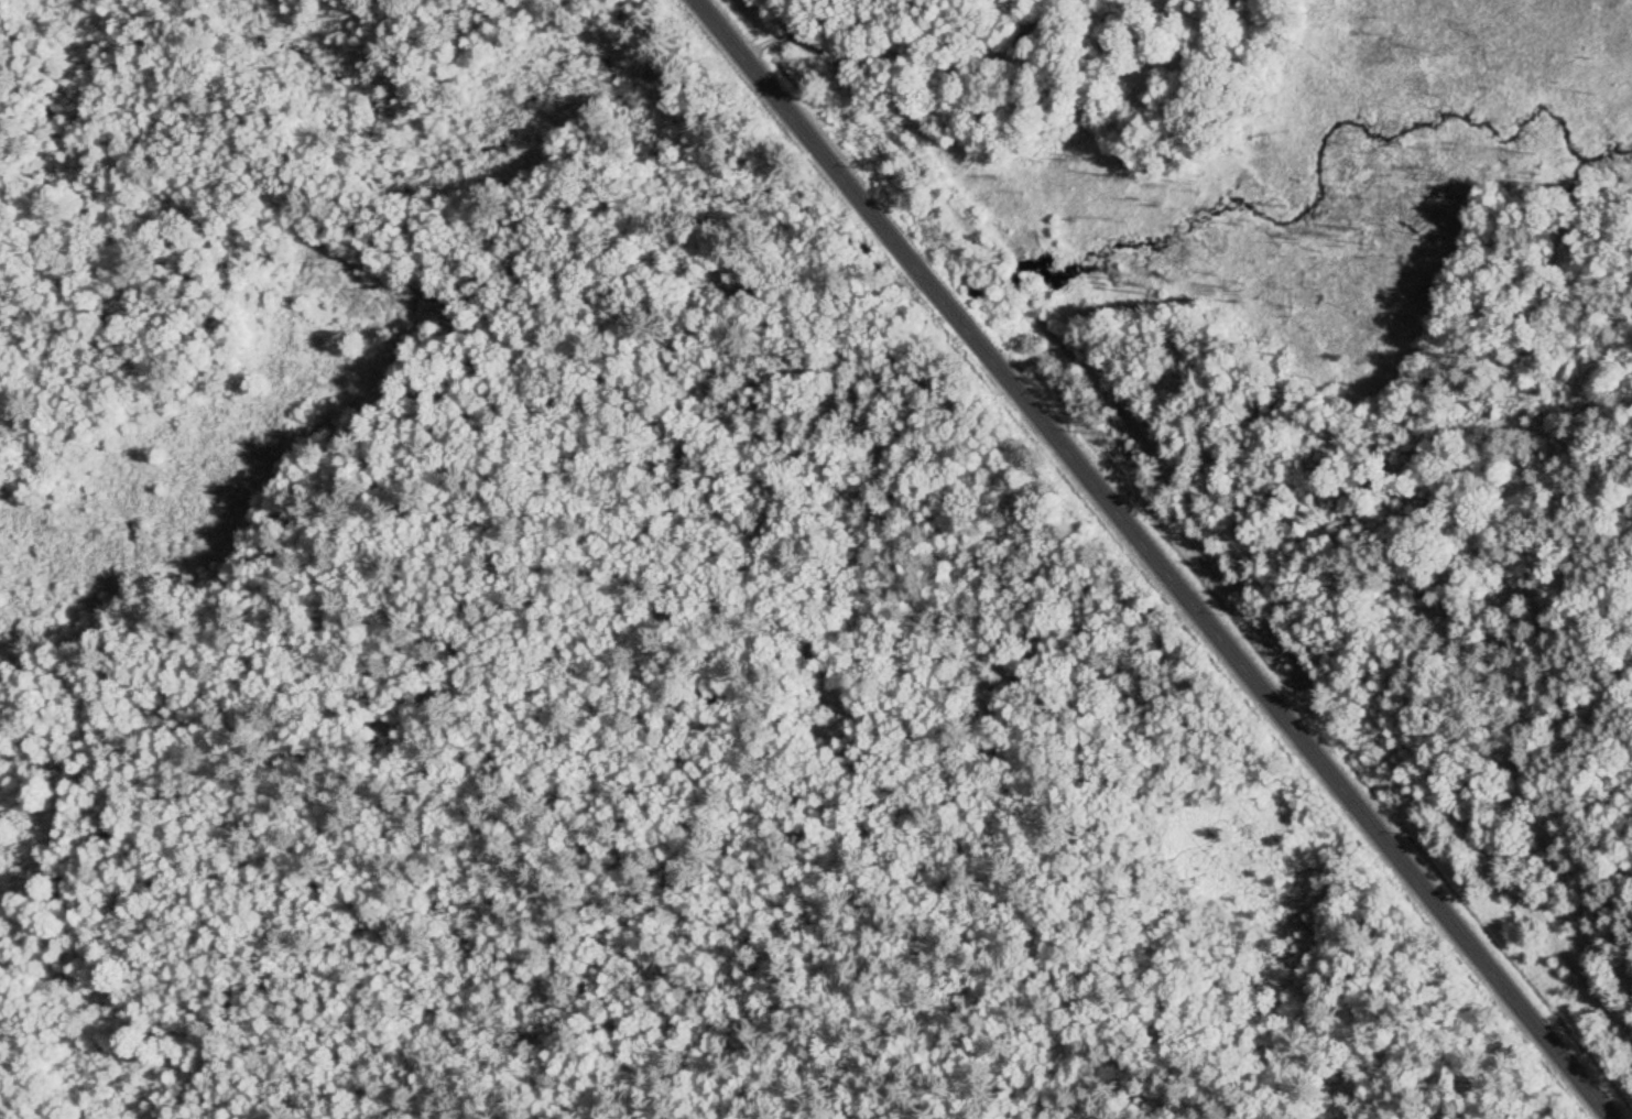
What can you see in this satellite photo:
road: (1154, 558)

